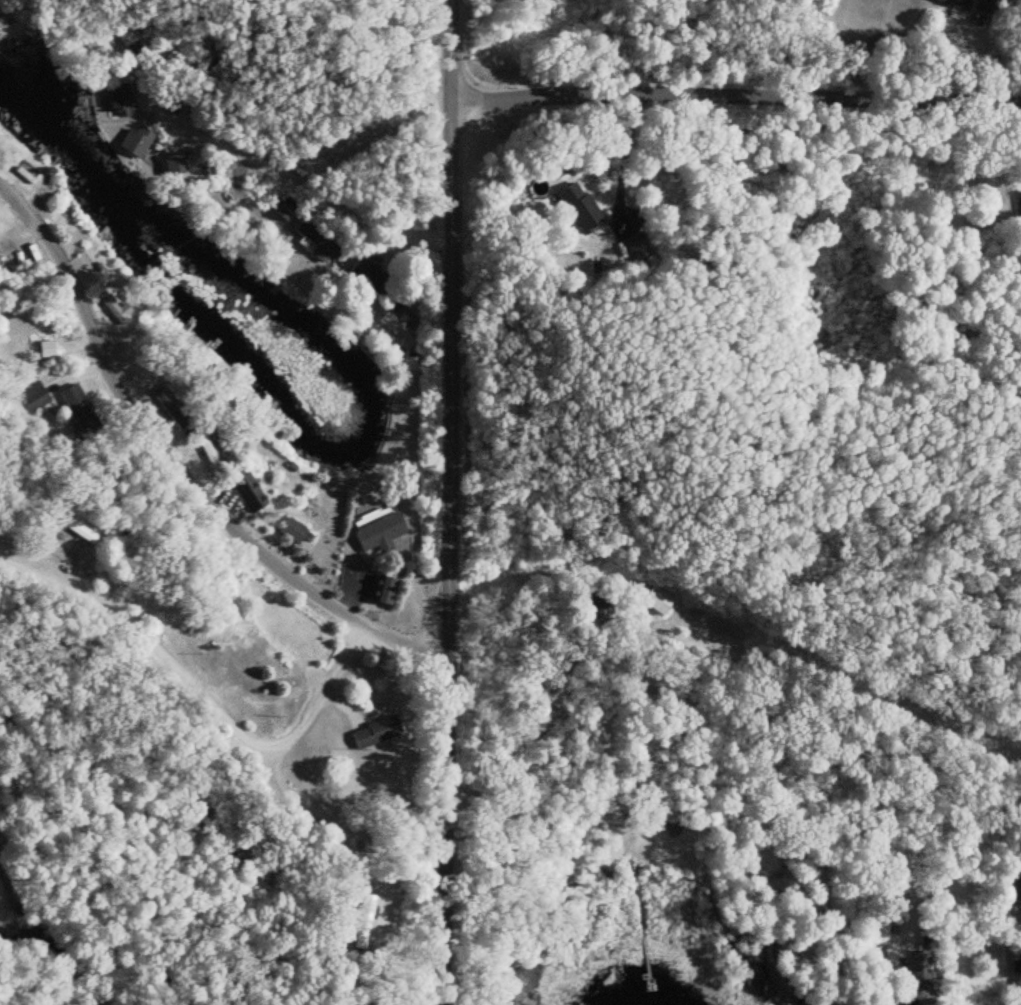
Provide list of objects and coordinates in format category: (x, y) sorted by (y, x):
building: (972, 5)
road: (879, 13)
road: (737, 93)
building: (116, 102)
building: (134, 141)
road: (243, 148)
road: (622, 158)
building: (283, 208)
building: (579, 209)
building: (316, 245)
building: (629, 248)
building: (368, 278)
building: (112, 305)
building: (394, 329)
building: (77, 410)
road: (191, 458)
road: (416, 483)
road: (450, 502)
building: (378, 529)
building: (380, 589)
road: (197, 660)
road: (742, 712)
road: (185, 715)
building: (374, 733)
building: (1016, 893)

